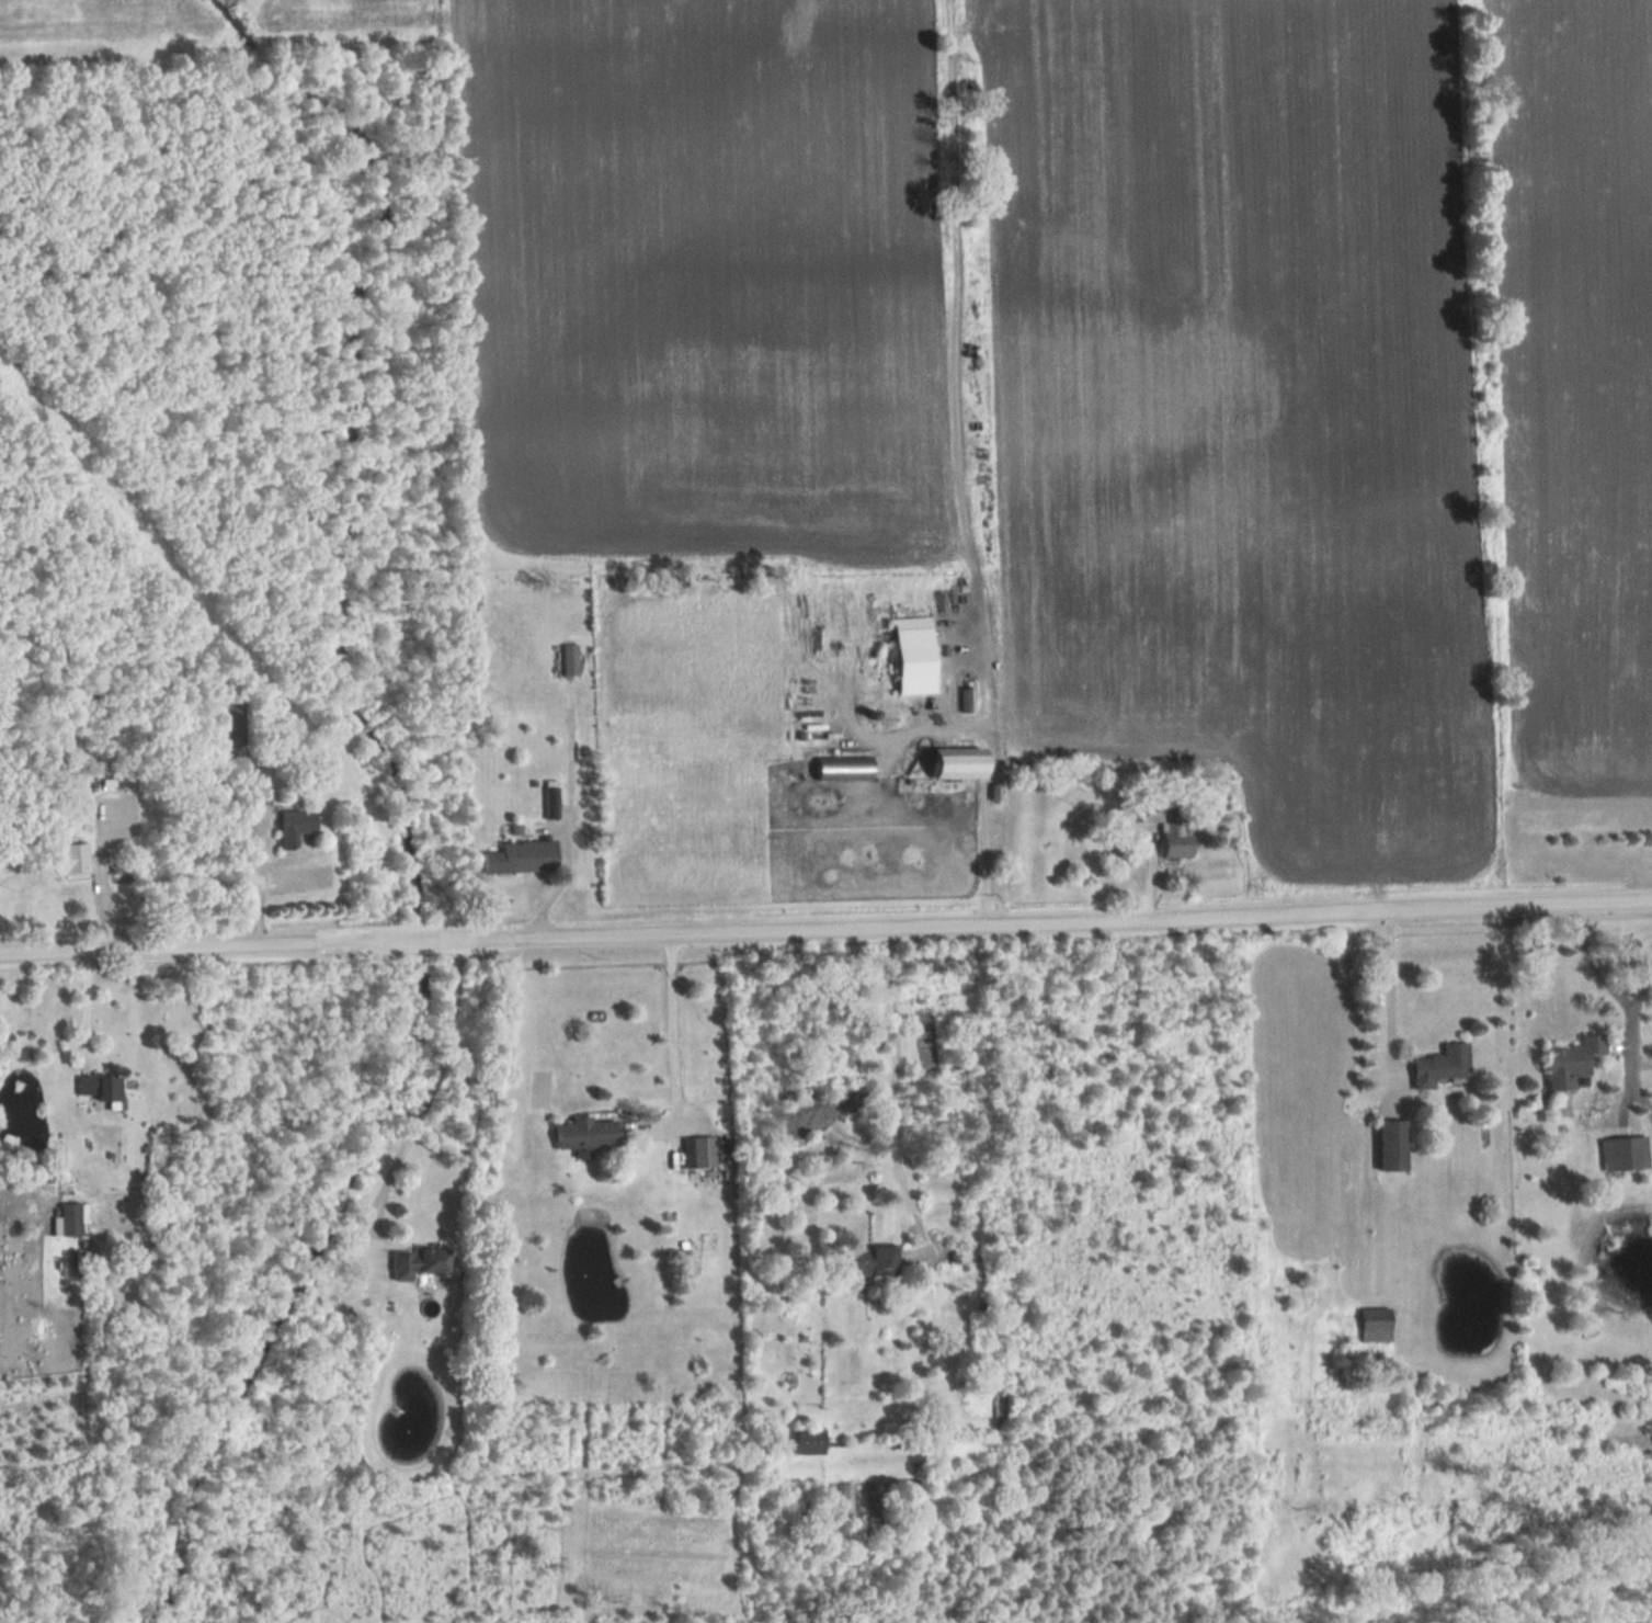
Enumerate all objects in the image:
building: (921, 655)
building: (572, 659)
building: (232, 724)
building: (968, 763)
building: (299, 826)
building: (1161, 828)
road: (981, 854)
building: (525, 856)
building: (72, 859)
road: (259, 878)
road: (825, 924)
road: (1634, 974)
road: (1389, 988)
road: (82, 1003)
road: (1621, 1005)
road: (670, 1022)
building: (1563, 1060)
building: (1435, 1066)
road: (890, 1080)
building: (102, 1087)
road: (420, 1102)
road: (1650, 1114)
road: (1650, 1119)
building: (576, 1132)
building: (1383, 1144)
building: (696, 1151)
building: (1619, 1153)
building: (73, 1219)
building: (863, 1260)
building: (407, 1263)
building: (1367, 1325)
building: (800, 1441)

